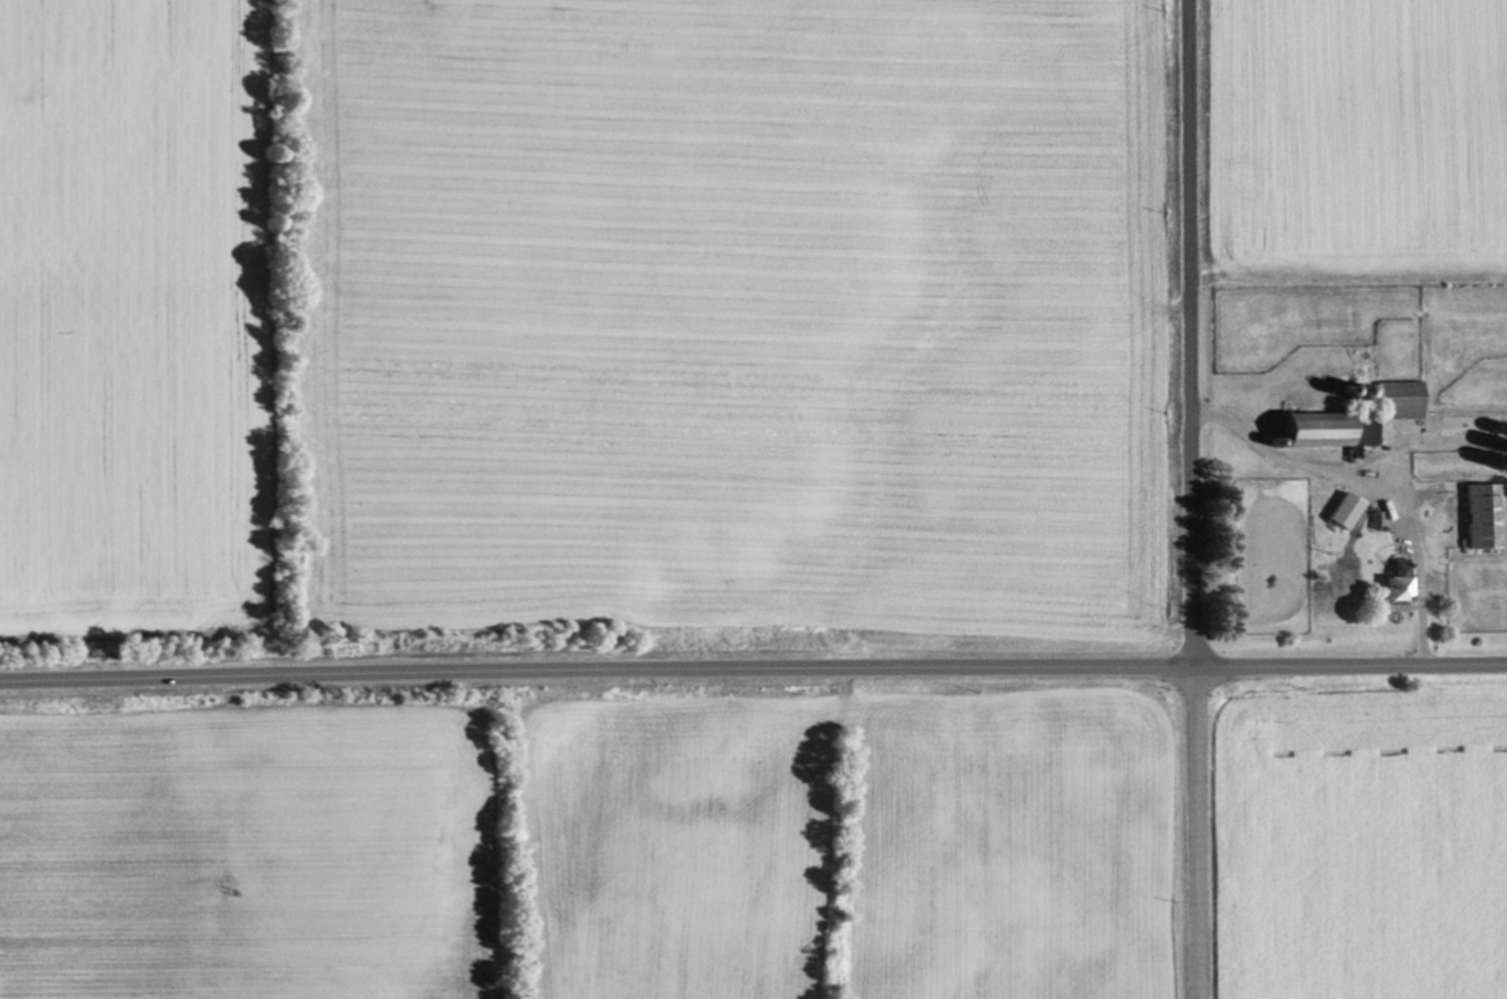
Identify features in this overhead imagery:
road: (1191, 334)
building: (1355, 420)
road: (1372, 483)
building: (1486, 517)
building: (1399, 581)
road: (753, 669)
road: (1199, 833)

